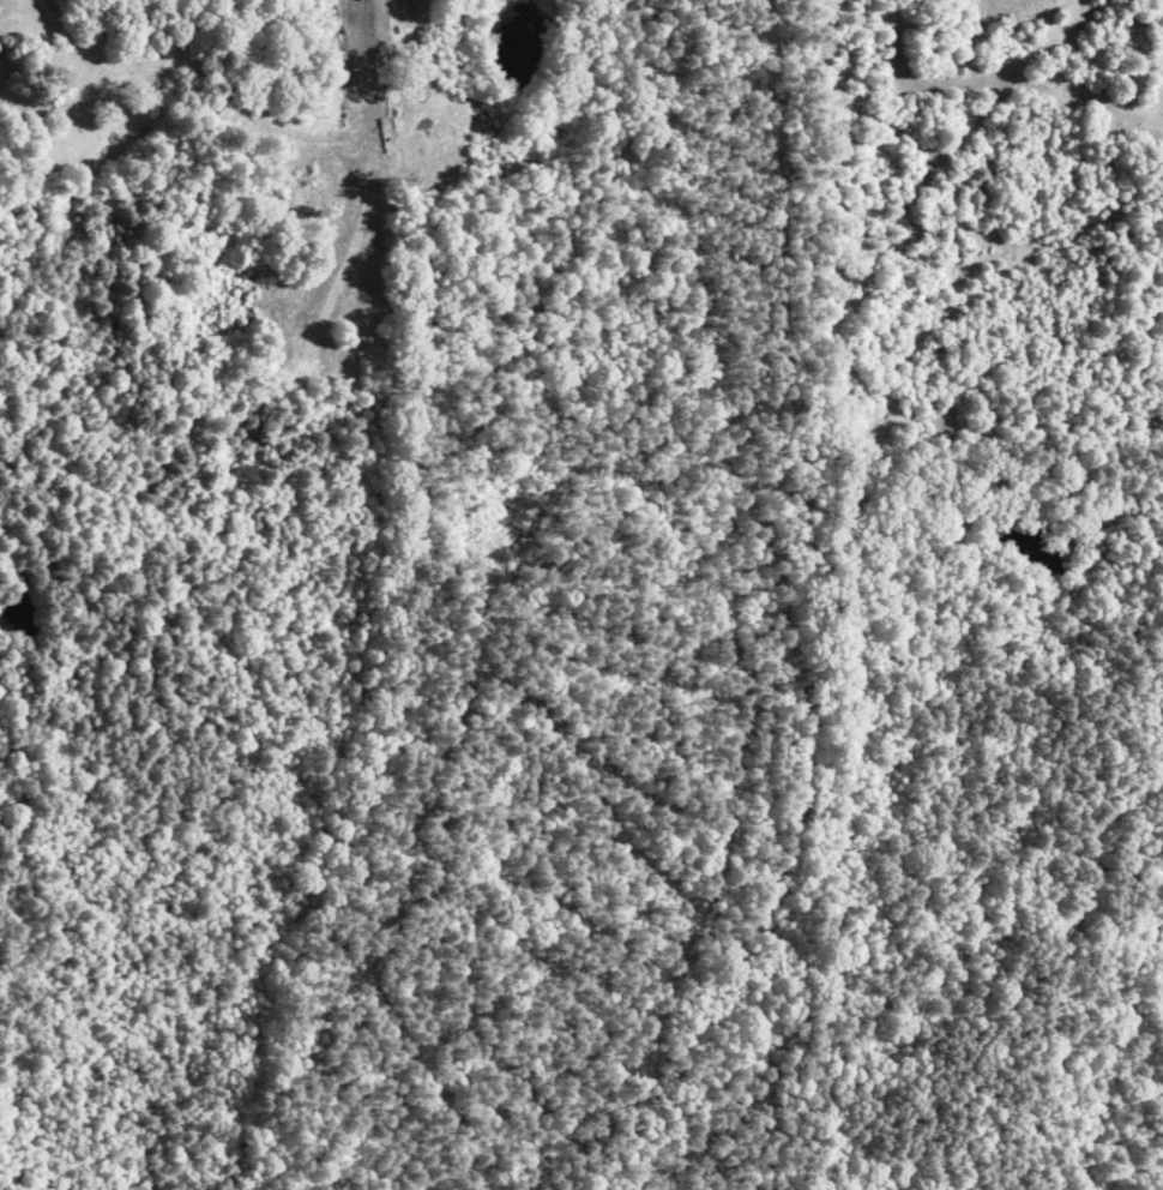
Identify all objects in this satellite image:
road: (227, 76)

